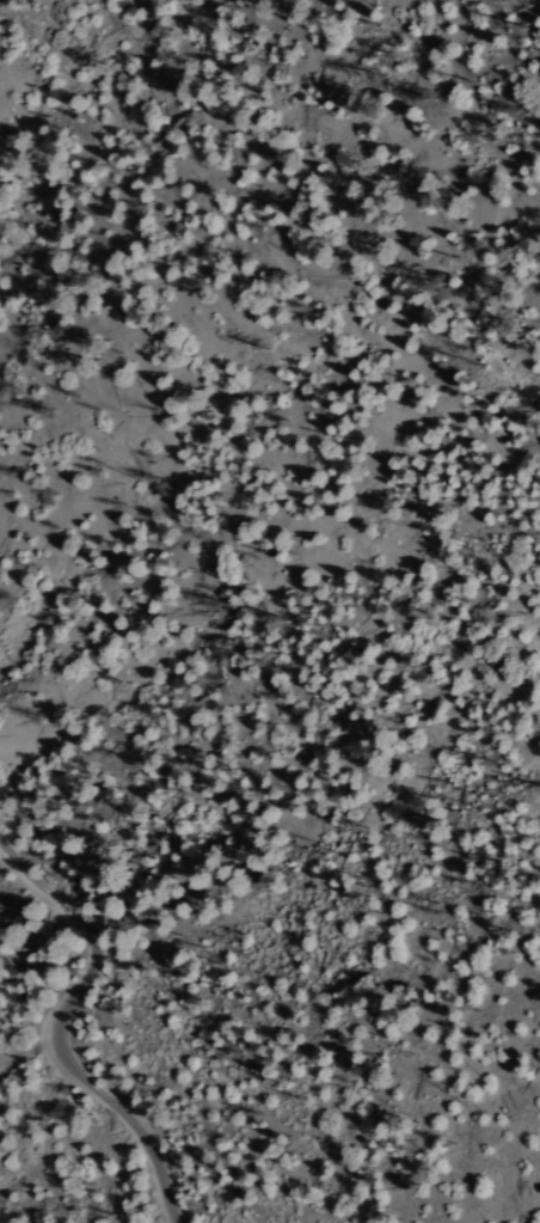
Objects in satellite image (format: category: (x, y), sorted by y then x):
road: (61, 1025)

